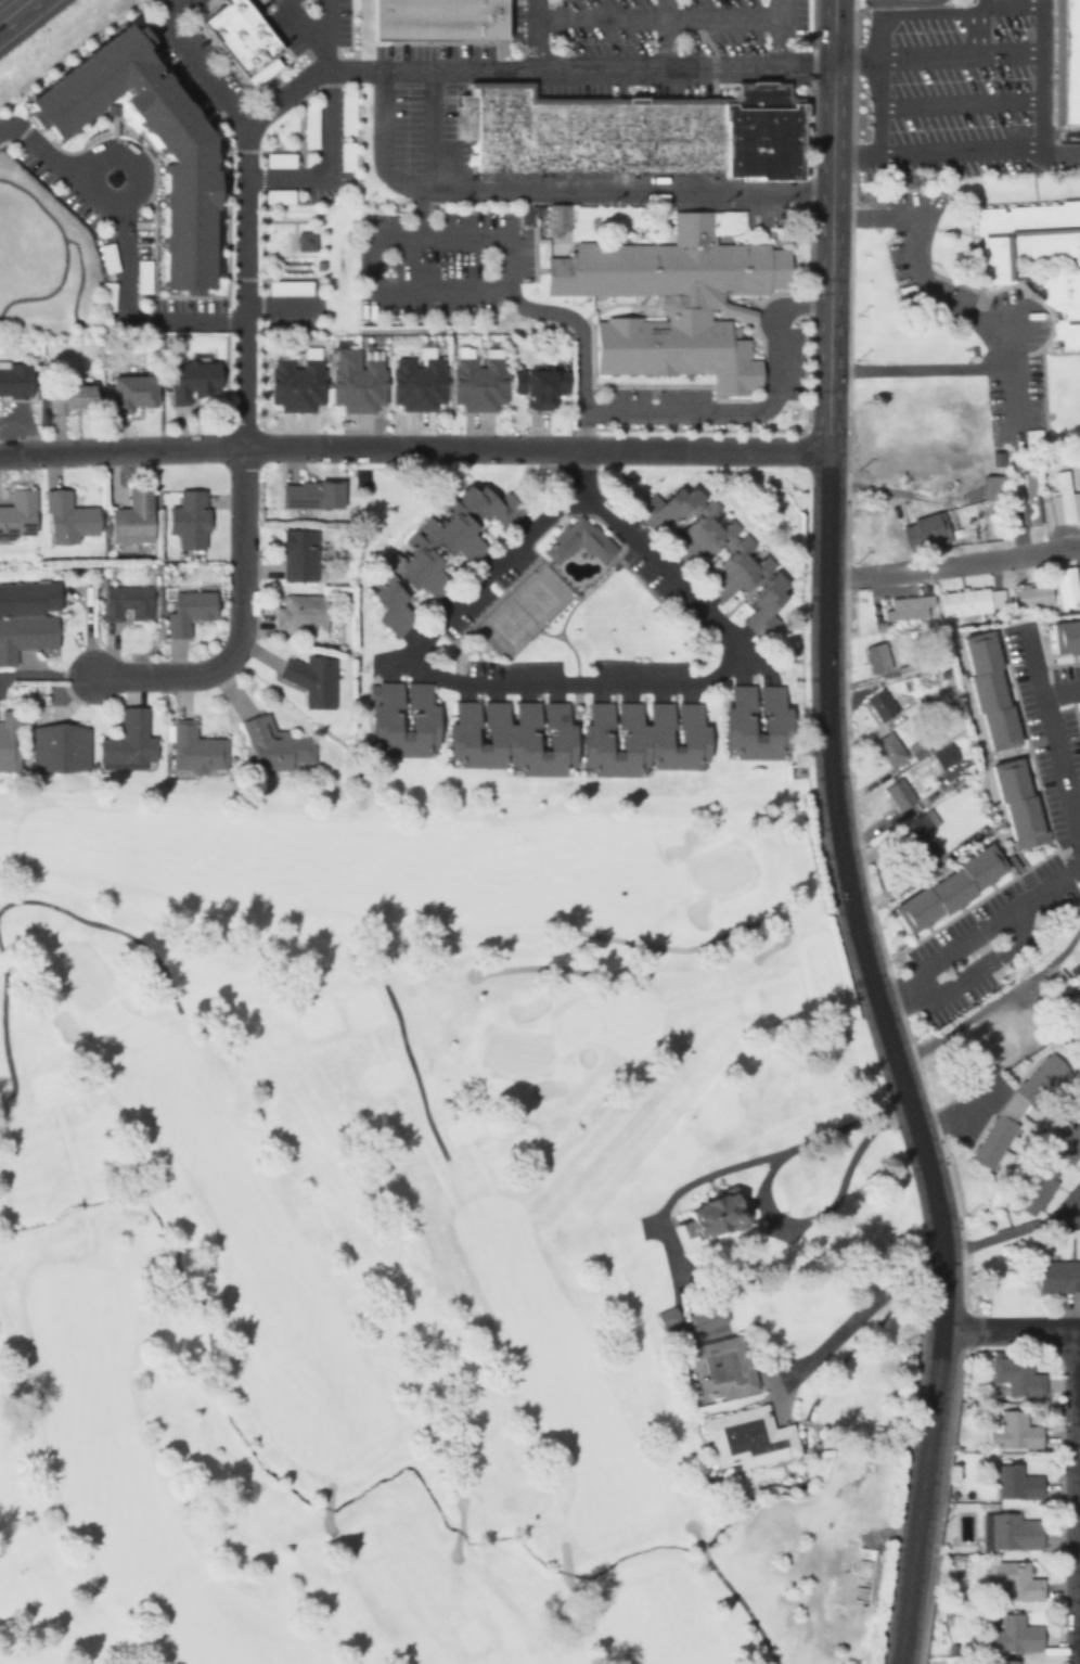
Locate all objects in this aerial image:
road: (1019, 8)
road: (18, 14)
road: (671, 15)
building: (441, 17)
road: (988, 27)
road: (1051, 27)
road: (830, 31)
parking lot: (681, 33)
road: (890, 33)
road: (538, 34)
road: (666, 34)
building: (242, 39)
building: (1068, 61)
road: (683, 66)
parking lot: (954, 89)
road: (1051, 101)
road: (970, 102)
building: (634, 131)
building: (189, 159)
road: (555, 191)
road: (237, 247)
park: (48, 255)
building: (1036, 255)
building: (669, 296)
road: (510, 297)
road: (240, 380)
building: (15, 381)
building: (194, 381)
building: (358, 381)
building: (299, 382)
building: (480, 382)
building: (420, 383)
building: (541, 387)
building: (134, 393)
building: (72, 398)
road: (750, 412)
road: (413, 447)
building: (991, 488)
building: (312, 495)
building: (1030, 499)
building: (1064, 501)
building: (18, 515)
building: (134, 517)
building: (68, 520)
building: (190, 520)
building: (925, 530)
building: (580, 540)
building: (299, 555)
building: (425, 560)
building: (735, 560)
road: (952, 564)
building: (1066, 587)
building: (1031, 596)
building: (127, 603)
building: (969, 603)
building: (909, 607)
park: (520, 609)
building: (190, 612)
building: (301, 614)
building: (27, 618)
road: (244, 625)
building: (1067, 635)
building: (877, 656)
building: (312, 679)
building: (991, 688)
building: (882, 703)
building: (424, 725)
building: (777, 727)
building: (577, 738)
building: (9, 741)
building: (129, 743)
building: (60, 748)
building: (278, 748)
building: (195, 750)
building: (890, 750)
building: (902, 793)
building: (1019, 799)
building: (918, 840)
road: (845, 870)
building: (951, 887)
building: (1079, 1083)
building: (1015, 1108)
building: (1066, 1141)
building: (1036, 1188)
building: (720, 1214)
park: (382, 1228)
building: (1059, 1275)
road: (859, 1310)
building: (708, 1319)
road: (1010, 1327)
building: (720, 1370)
building: (1017, 1374)
building: (1013, 1431)
building: (748, 1439)
building: (1016, 1482)
road: (1077, 1488)
building: (1010, 1529)
building: (1015, 1579)
building: (1015, 1634)
building: (1004, 1662)

